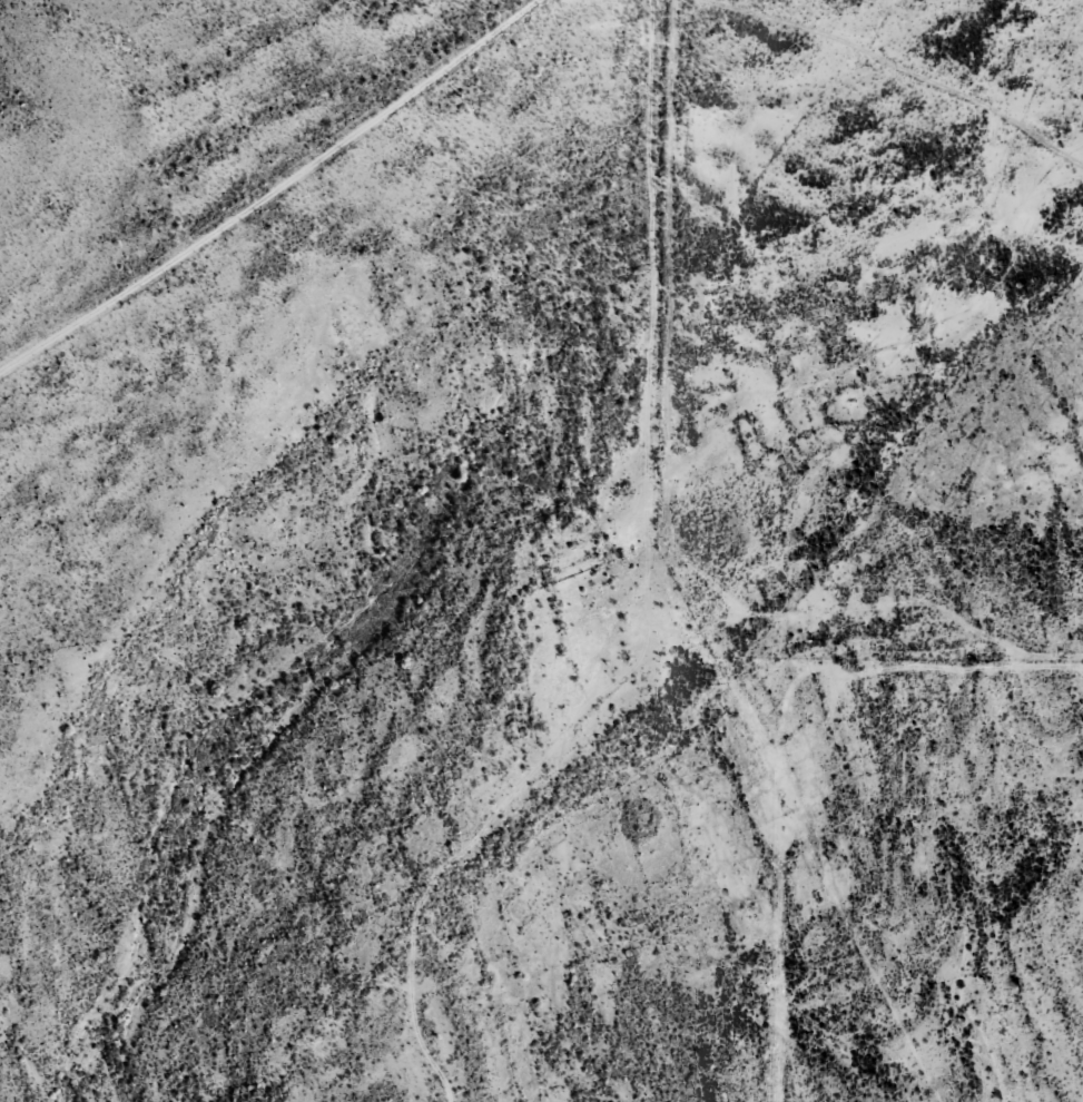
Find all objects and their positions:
road: (612, 579)

